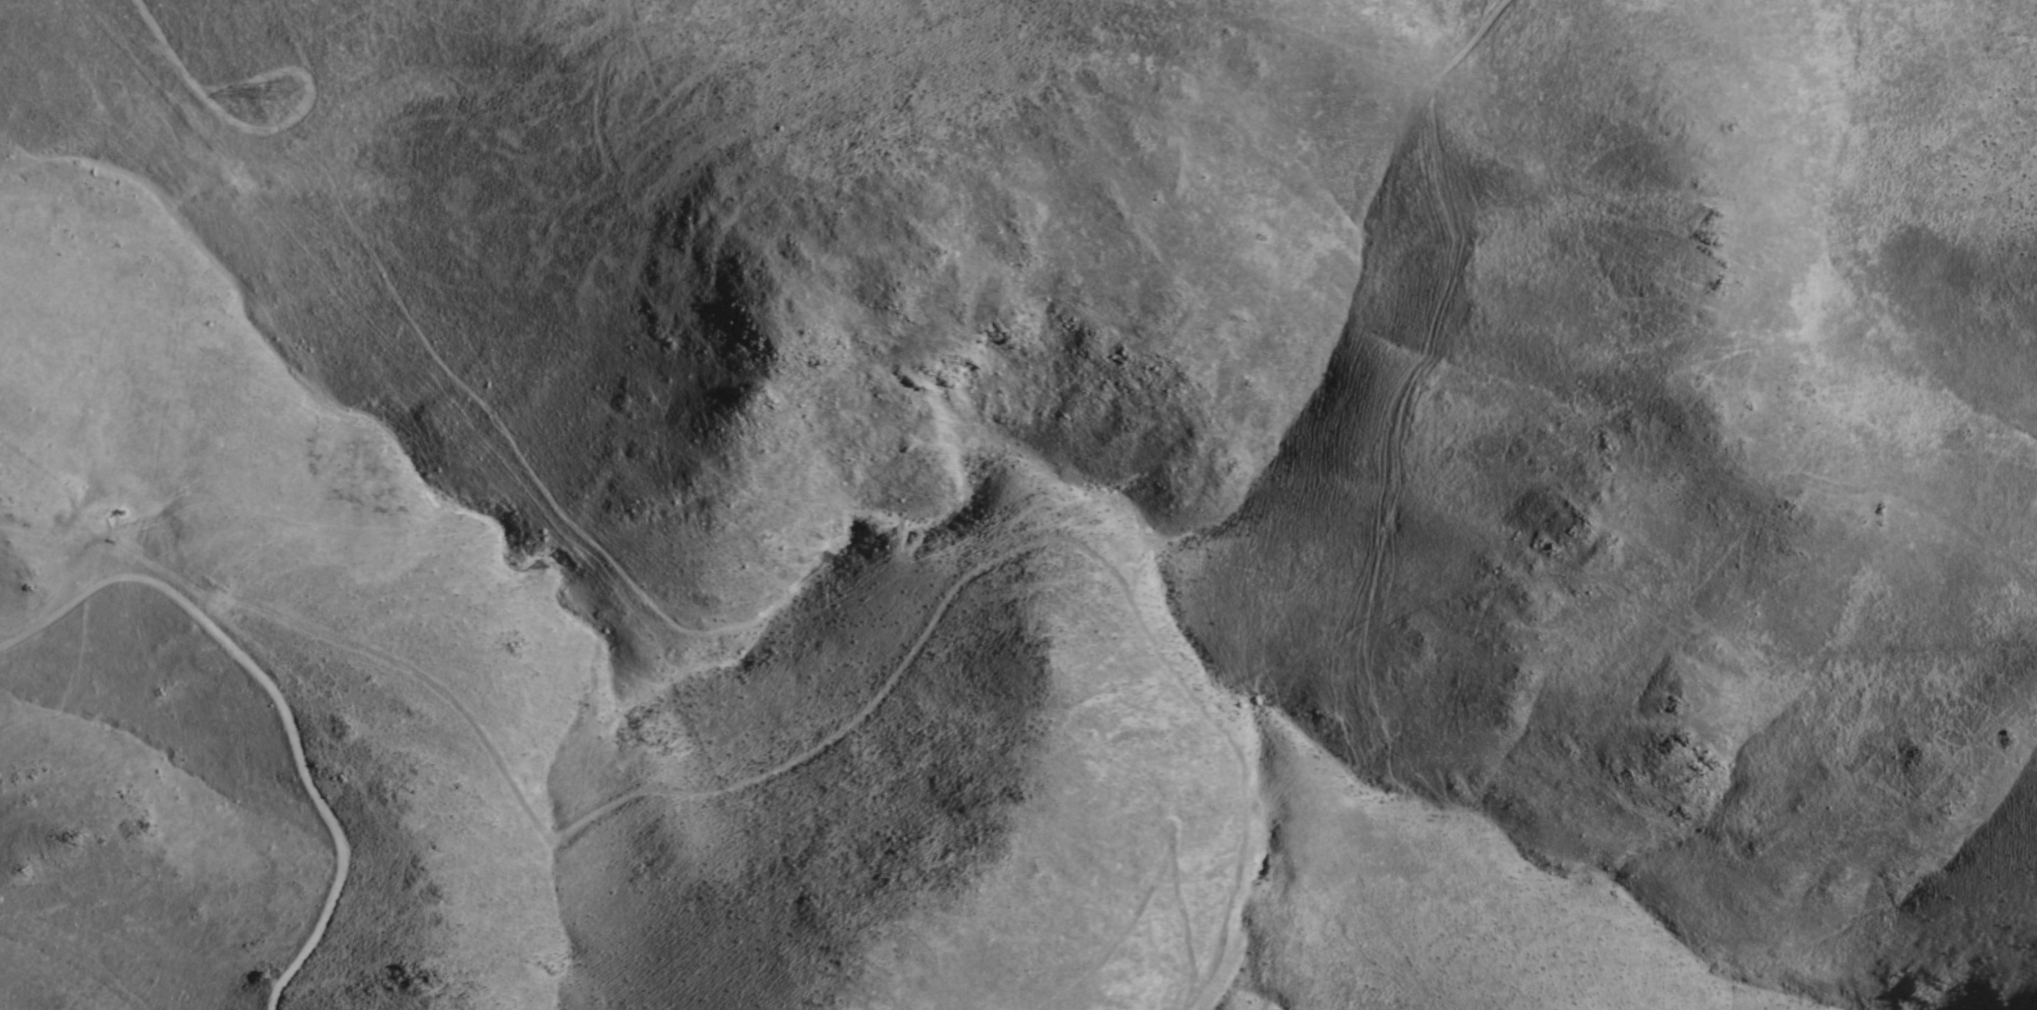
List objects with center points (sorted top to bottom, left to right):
power tower: (289, 97)
road: (247, 708)

